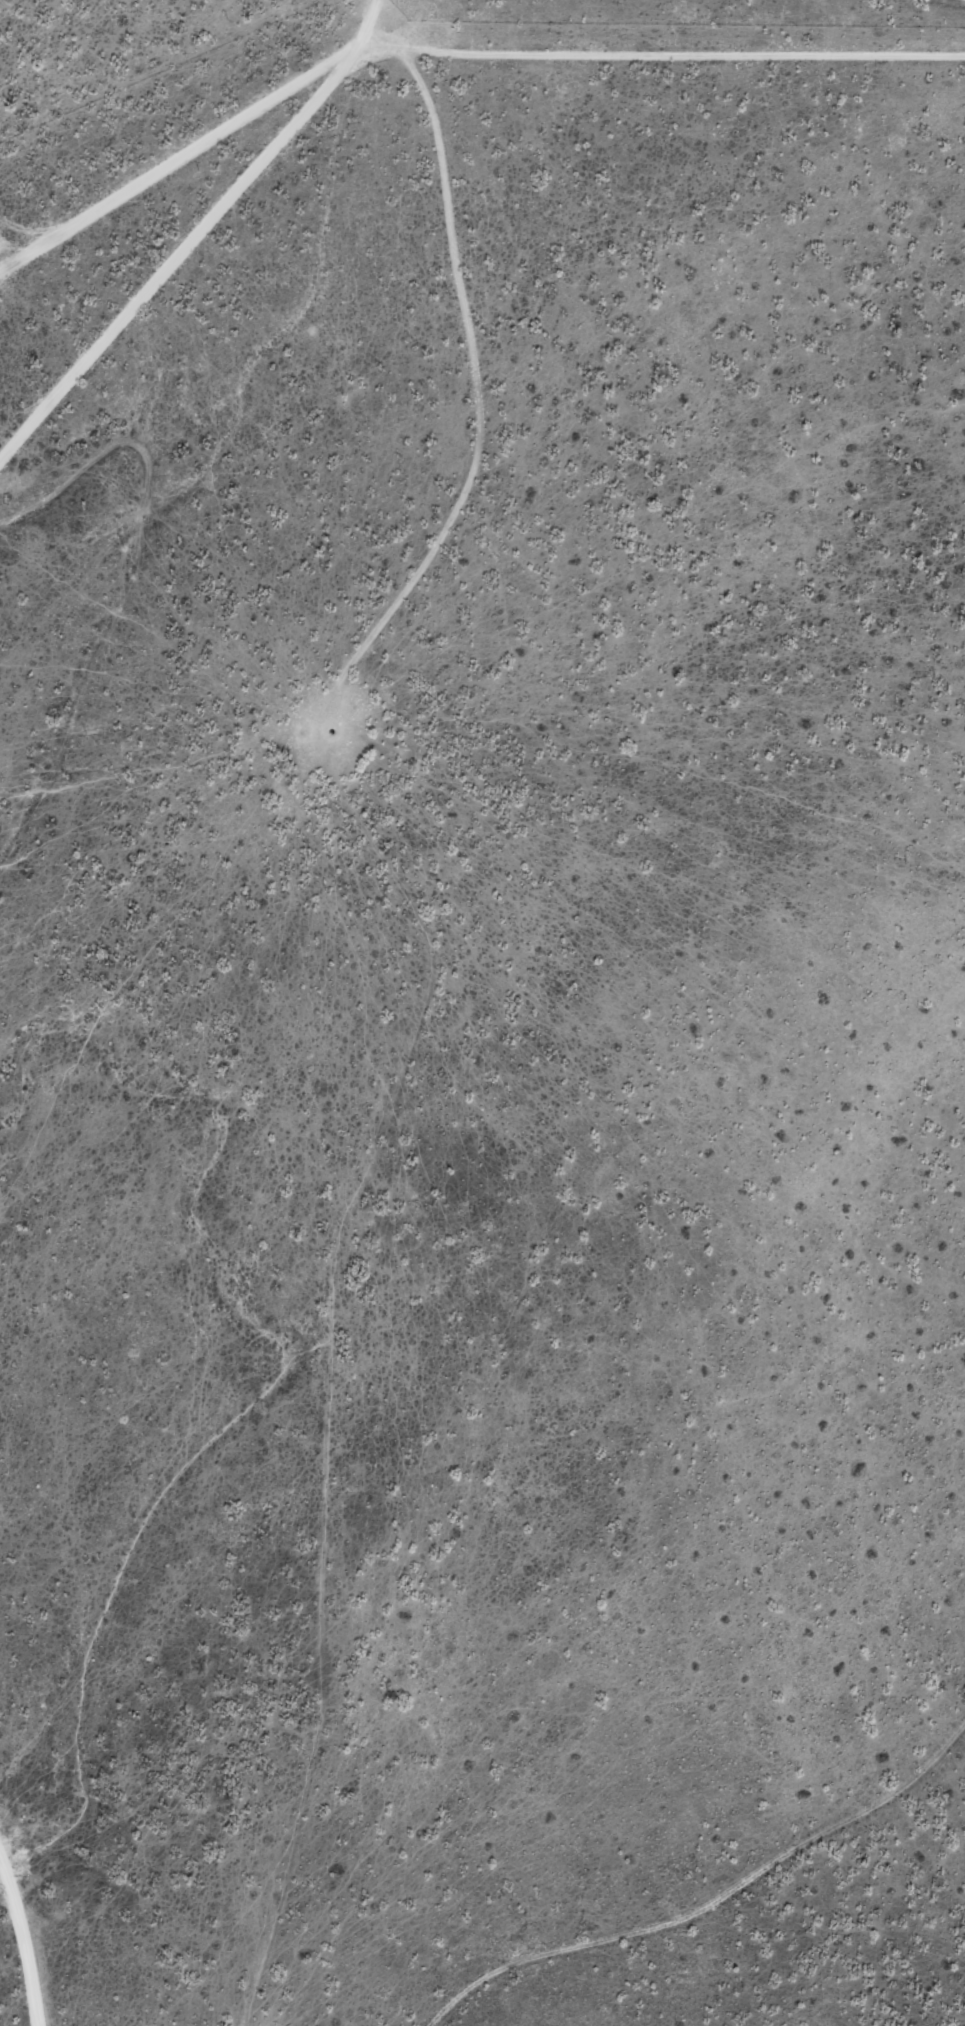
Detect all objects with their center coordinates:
road: (458, 88)
road: (316, 255)
road: (85, 550)
road: (554, 762)
road: (730, 1903)

